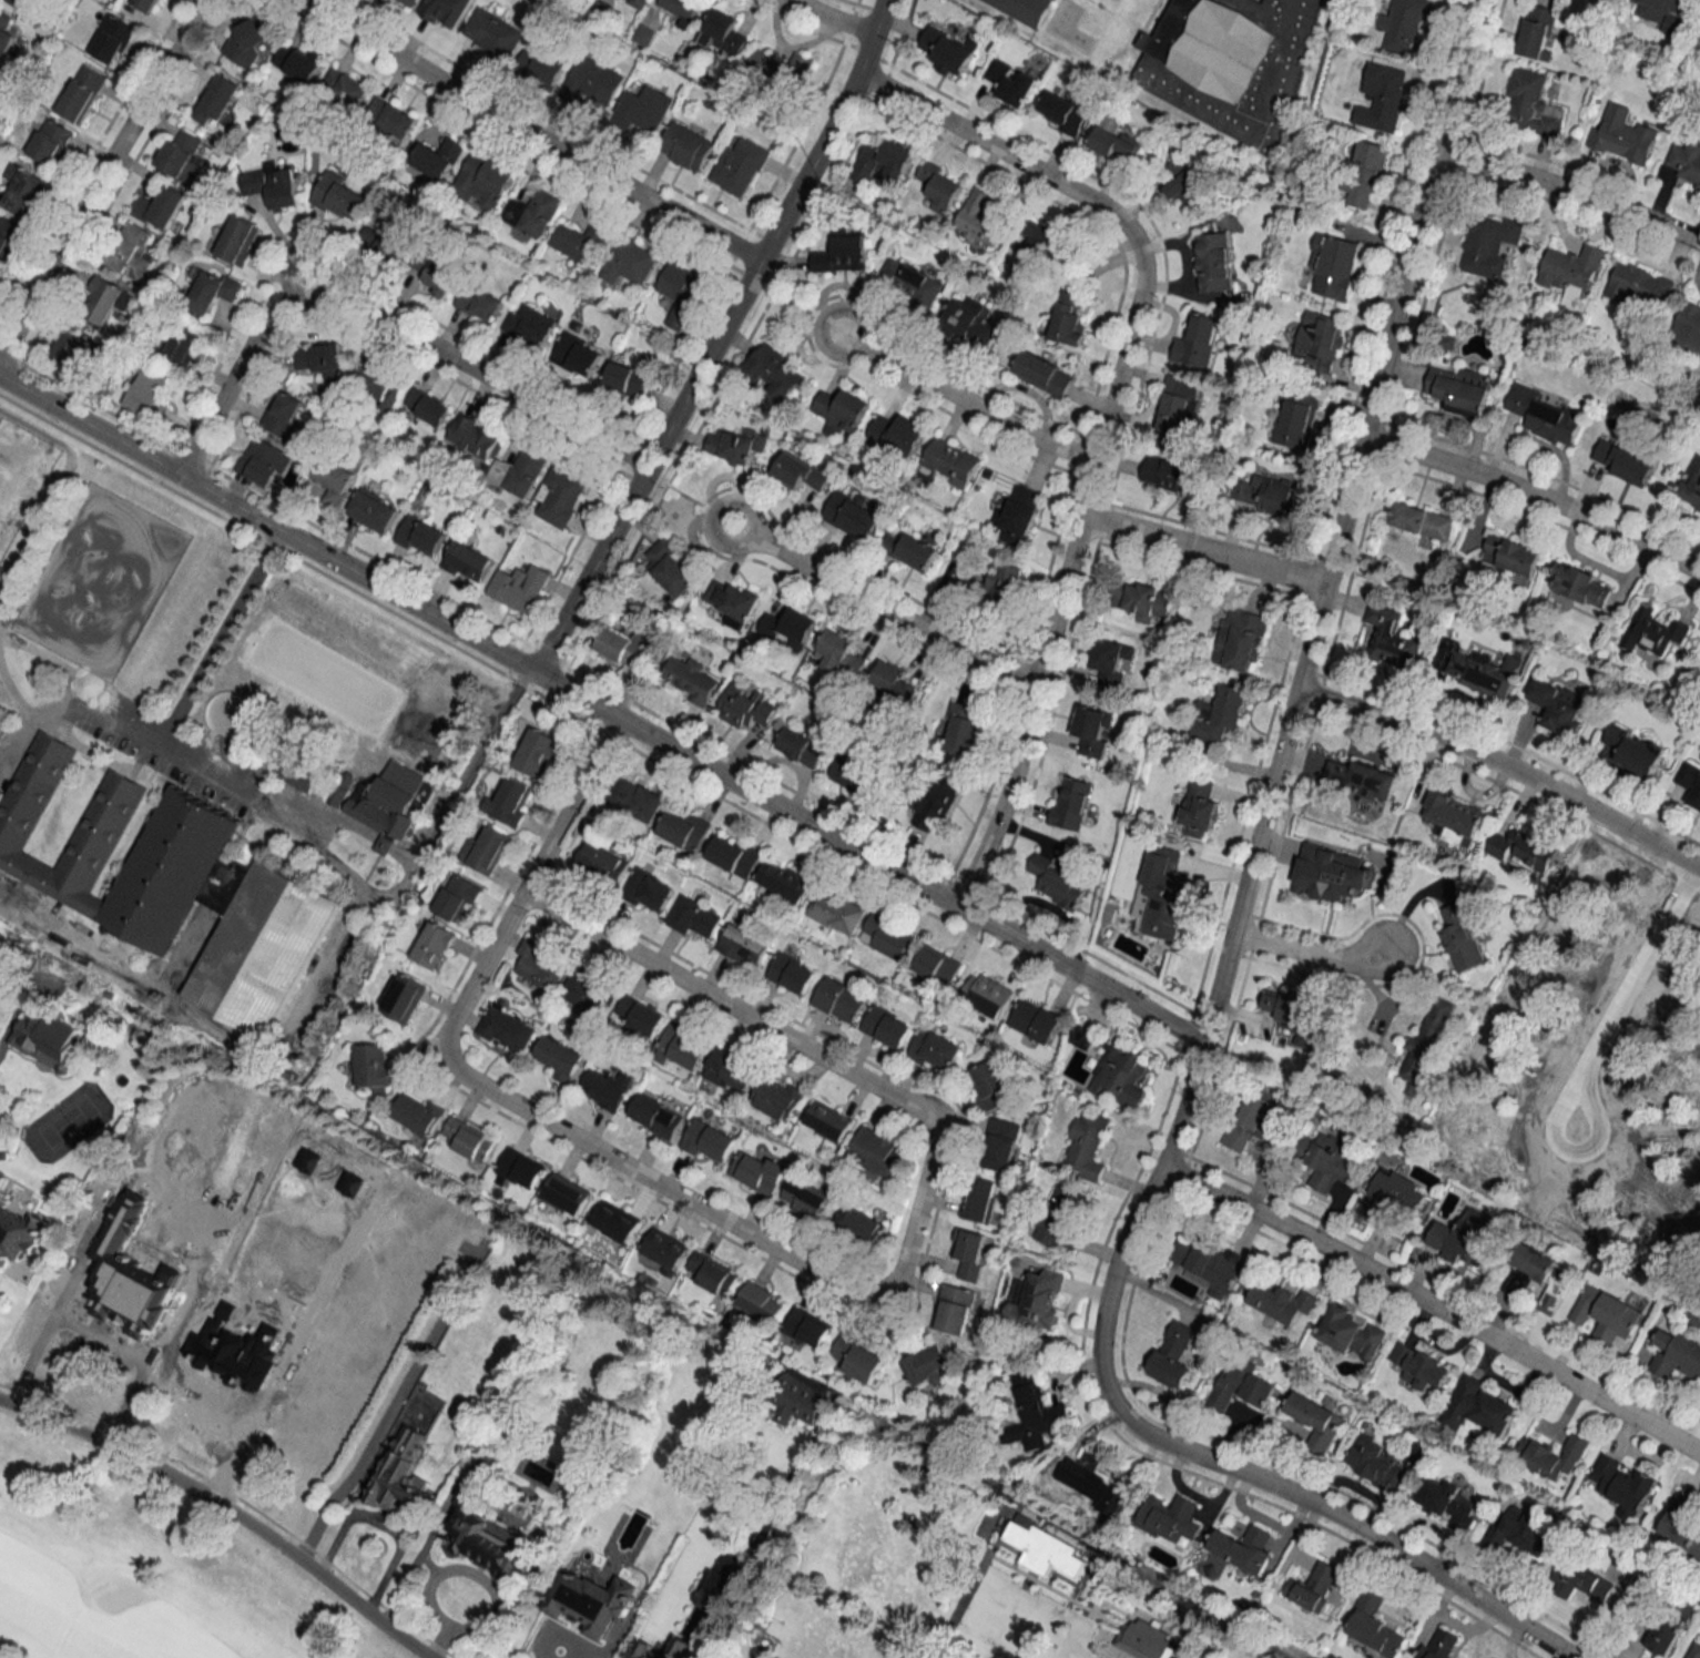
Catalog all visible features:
building: (408, 2)
building: (24, 3)
building: (638, 3)
building: (147, 4)
building: (445, 8)
building: (1021, 9)
building: (1658, 9)
building: (682, 10)
road: (832, 18)
building: (1402, 23)
building: (1538, 32)
building: (493, 33)
building: (723, 33)
building: (4, 34)
building: (643, 34)
building: (112, 39)
building: (248, 42)
building: (947, 51)
building: (298, 61)
building: (1229, 63)
building: (540, 68)
building: (782, 69)
building: (592, 82)
building: (1011, 82)
building: (345, 87)
building: (82, 93)
building: (1380, 95)
building: (216, 99)
building: (1531, 103)
building: (645, 109)
building: (1062, 112)
building: (391, 118)
road: (527, 138)
building: (1623, 140)
building: (51, 142)
building: (1116, 144)
building: (686, 146)
building: (183, 155)
building: (438, 159)
building: (883, 161)
building: (1686, 163)
building: (740, 165)
road: (807, 165)
building: (1363, 171)
road: (100, 175)
building: (485, 181)
building: (274, 185)
building: (1183, 185)
building: (940, 186)
road: (1571, 191)
building: (23, 192)
building: (340, 197)
road: (1103, 206)
building: (161, 207)
building: (532, 213)
building: (979, 220)
building: (7, 236)
building: (1040, 236)
building: (238, 238)
road: (301, 241)
building: (581, 242)
building: (1488, 244)
building: (381, 246)
building: (132, 252)
building: (842, 254)
building: (629, 262)
building: (1213, 262)
building: (1334, 264)
building: (1572, 268)
building: (435, 274)
building: (910, 282)
building: (1640, 286)
building: (214, 291)
building: (681, 294)
building: (104, 299)
building: (479, 303)
building: (1069, 315)
road: (380, 317)
building: (968, 322)
building: (530, 326)
building: (1688, 326)
building: (1320, 339)
building: (1197, 343)
building: (184, 345)
building: (75, 348)
building: (577, 354)
building: (322, 360)
building: (774, 372)
building: (1042, 373)
building: (628, 379)
building: (377, 386)
building: (1460, 389)
building: (149, 395)
building: (1177, 405)
road: (964, 406)
building: (428, 407)
building: (841, 409)
building: (284, 413)
building: (1544, 416)
building: (1296, 419)
building: (472, 435)
building: (897, 435)
building: (735, 445)
building: (950, 461)
building: (1623, 461)
building: (264, 462)
building: (800, 471)
building: (519, 472)
building: (1167, 472)
building: (334, 480)
building: (1691, 484)
road: (1088, 494)
building: (1266, 495)
building: (560, 496)
road: (1535, 496)
road: (628, 499)
building: (373, 510)
building: (852, 516)
building: (1019, 516)
building: (1423, 521)
building: (420, 536)
building: (909, 551)
road: (1202, 551)
building: (1510, 556)
building: (467, 562)
building: (671, 568)
park: (95, 577)
building: (1004, 582)
road: (1324, 584)
building: (1578, 586)
building: (518, 587)
building: (1142, 599)
building: (732, 602)
road: (876, 608)
building: (788, 627)
building: (1652, 631)
building: (1240, 639)
building: (1388, 639)
park: (304, 641)
building: (623, 645)
building: (839, 655)
building: (1110, 660)
building: (1479, 673)
building: (691, 678)
building: (894, 681)
road: (65, 699)
building: (1558, 705)
building: (746, 706)
road: (600, 710)
building: (1221, 713)
road: (1027, 716)
building: (963, 730)
building: (1092, 730)
road: (161, 738)
building: (801, 746)
building: (1631, 750)
building: (540, 753)
road: (1505, 765)
building: (849, 772)
building: (294, 776)
building: (1361, 780)
building: (1690, 783)
building: (383, 799)
building: (635, 800)
building: (935, 800)
building: (509, 801)
building: (1070, 803)
road: (570, 805)
building: (1198, 807)
building: (1453, 813)
building: (99, 825)
building: (683, 828)
road: (381, 840)
building: (1521, 848)
building: (485, 851)
building: (733, 855)
building: (601, 862)
building: (166, 867)
building: (1330, 873)
building: (784, 882)
building: (1056, 883)
road: (363, 886)
building: (648, 891)
building: (1162, 895)
building: (457, 898)
building: (837, 912)
building: (694, 918)
building: (886, 936)
building: (1462, 937)
building: (255, 939)
building: (432, 945)
building: (743, 945)
road: (330, 953)
road: (1309, 953)
building: (538, 964)
building: (937, 965)
building: (791, 973)
building: (588, 994)
building: (987, 994)
building: (403, 997)
building: (839, 999)
building: (1289, 1013)
building: (640, 1016)
building: (1035, 1020)
building: (887, 1026)
building: (506, 1029)
building: (44, 1038)
building: (684, 1046)
building: (1424, 1046)
road: (1598, 1046)
building: (935, 1049)
building: (559, 1058)
building: (374, 1067)
building: (1114, 1069)
building: (731, 1070)
building: (991, 1085)
building: (607, 1088)
building: (1540, 1091)
building: (778, 1098)
building: (418, 1112)
building: (655, 1116)
building: (1254, 1116)
building: (827, 1121)
building: (467, 1139)
building: (708, 1141)
building: (1001, 1143)
building: (1086, 1146)
building: (877, 1153)
building: (1326, 1160)
building: (520, 1168)
building: (757, 1171)
road: (925, 1178)
building: (1396, 1190)
building: (564, 1192)
building: (805, 1198)
building: (979, 1199)
building: (1061, 1217)
building: (617, 1221)
building: (861, 1224)
building: (16, 1227)
building: (1464, 1235)
building: (665, 1250)
building: (971, 1254)
building: (1207, 1263)
building: (712, 1273)
building: (1540, 1276)
road: (71, 1286)
building: (1036, 1299)
building: (1281, 1301)
building: (760, 1303)
road: (1432, 1305)
building: (954, 1309)
building: (1611, 1313)
building: (806, 1328)
building: (1351, 1333)
building: (1676, 1354)
building: (1173, 1355)
building: (856, 1357)
building: (926, 1364)
building: (1419, 1366)
building: (1241, 1384)
road: (390, 1402)
building: (796, 1402)
building: (1478, 1407)
building: (1034, 1413)
building: (1316, 1420)
road: (243, 1440)
building: (1553, 1455)
building: (1377, 1464)
road: (1231, 1468)
building: (401, 1472)
building: (1098, 1484)
building: (1623, 1486)
building: (1445, 1499)
road: (227, 1507)
building: (1169, 1518)
building: (1682, 1523)
building: (1521, 1532)
building: (486, 1537)
building: (1040, 1545)
building: (1242, 1548)
park: (134, 1580)
building: (1584, 1581)
building: (1313, 1586)
building: (711, 1589)
road: (964, 1589)
building: (587, 1598)
building: (1374, 1626)
building: (1669, 1626)
building: (1438, 1645)
building: (644, 1647)
building: (1694, 1650)
building: (842, 1655)

